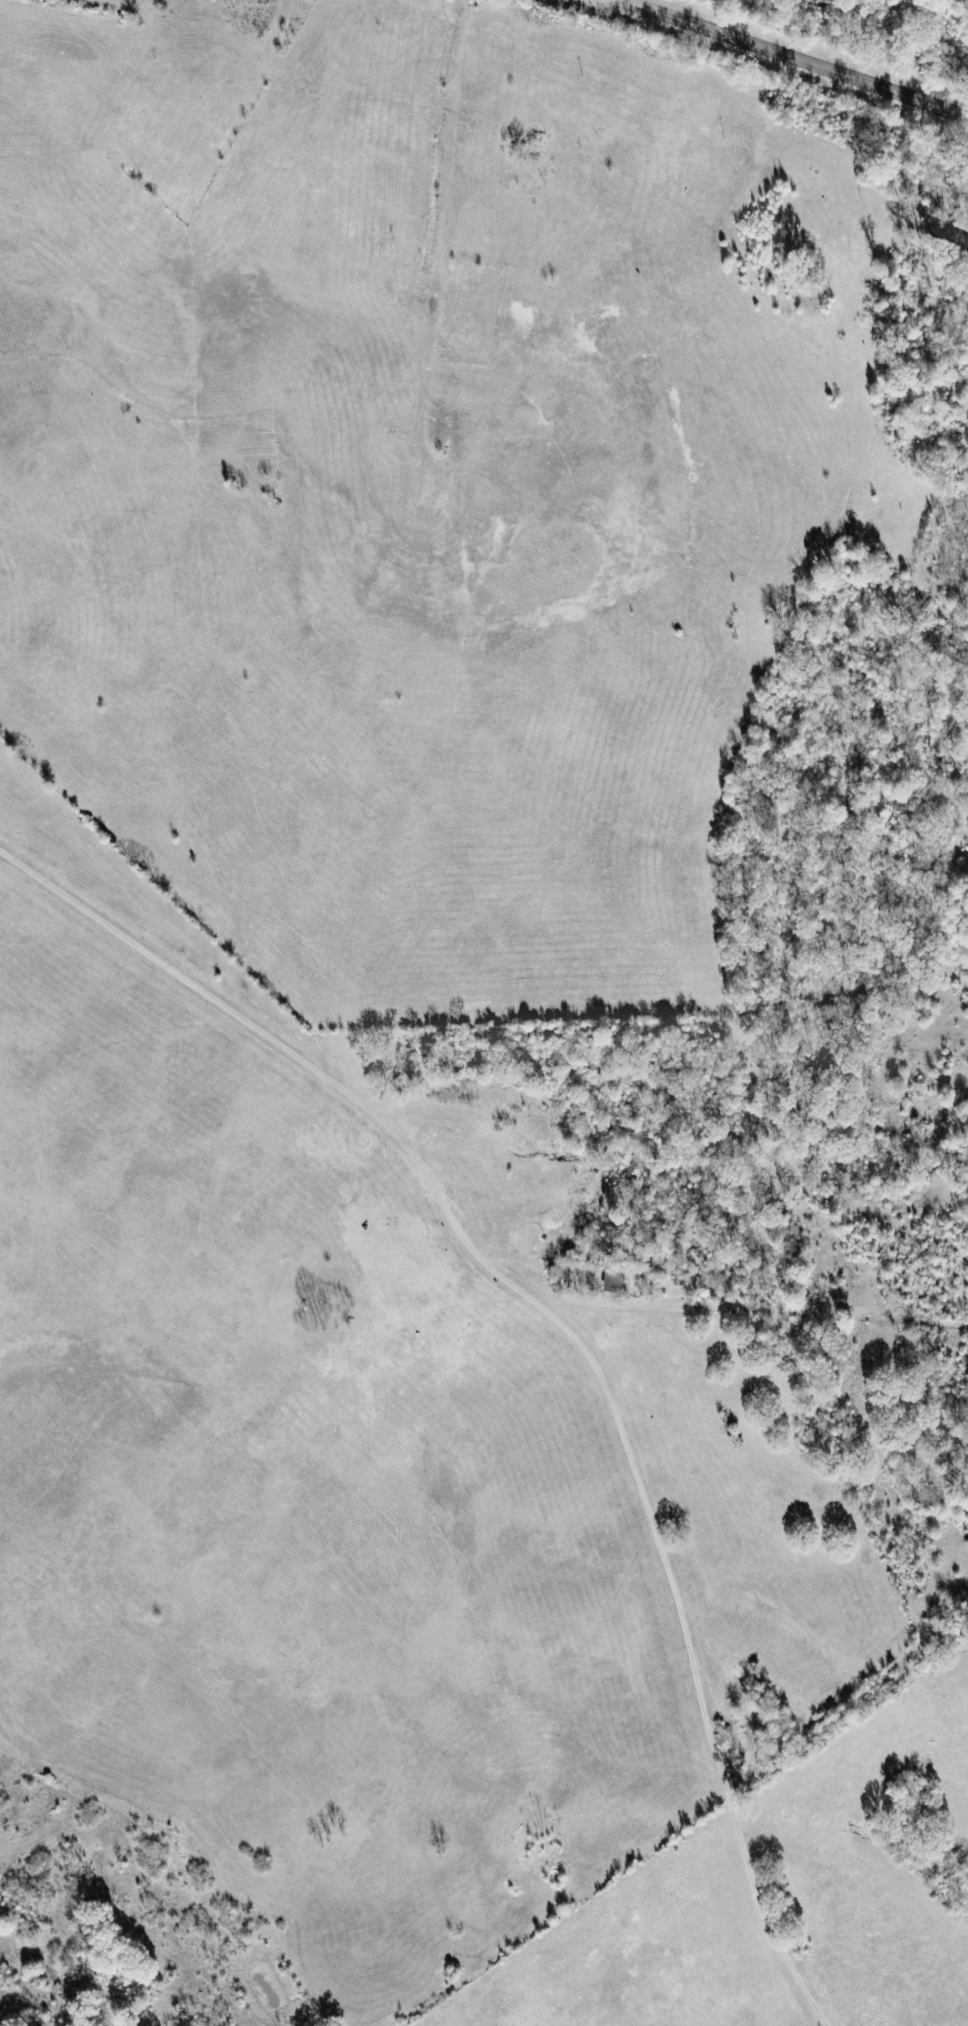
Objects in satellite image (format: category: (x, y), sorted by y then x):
road: (795, 56)

